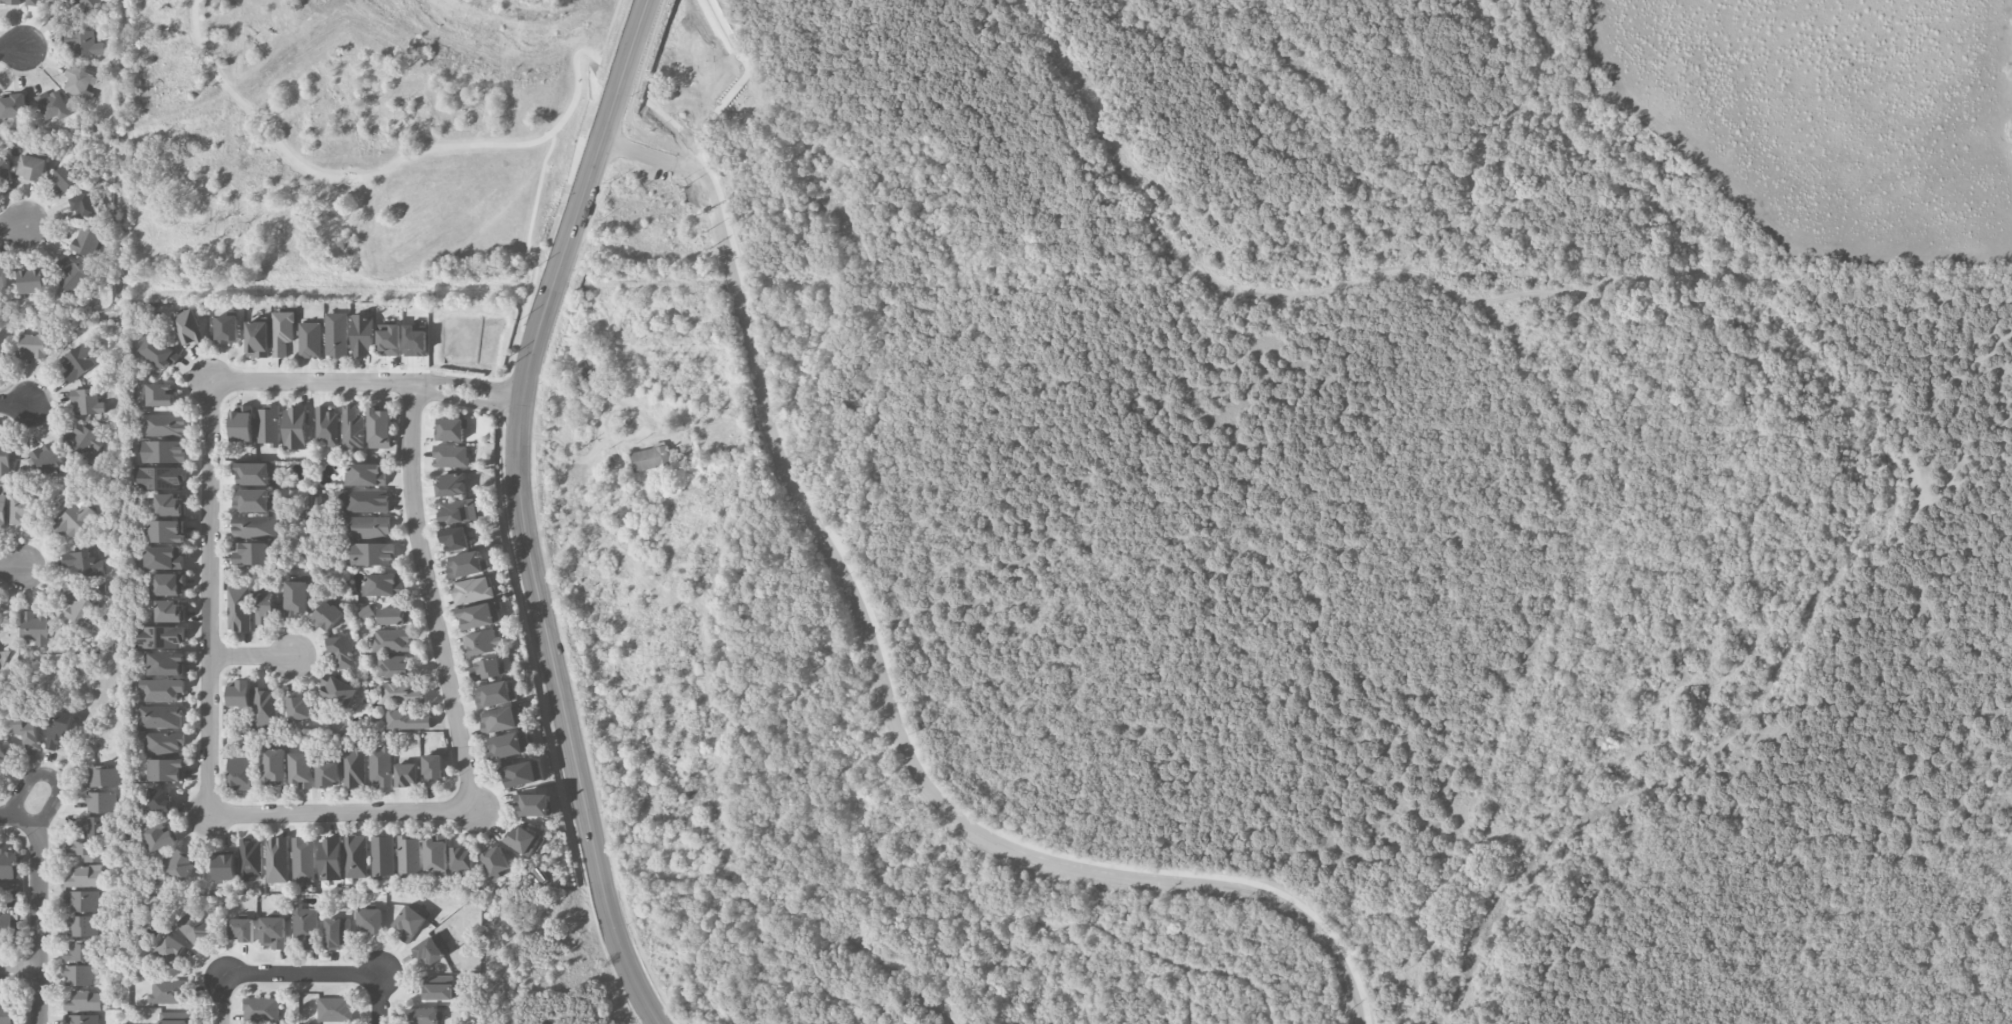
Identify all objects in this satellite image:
building: (10, 2)
building: (32, 2)
building: (87, 4)
building: (84, 43)
road: (12, 49)
road: (621, 80)
building: (78, 82)
building: (13, 105)
building: (52, 105)
road: (723, 113)
road: (1598, 144)
park: (353, 145)
road: (1126, 159)
building: (32, 167)
road: (382, 168)
building: (5, 169)
building: (64, 179)
road: (713, 185)
building: (84, 204)
road: (13, 225)
building: (87, 241)
road: (528, 243)
building: (70, 274)
building: (2, 275)
building: (32, 281)
road: (1258, 285)
road: (1263, 306)
building: (189, 327)
building: (226, 329)
building: (282, 332)
building: (336, 335)
building: (363, 335)
building: (257, 338)
building: (389, 339)
building: (310, 340)
building: (415, 341)
building: (34, 344)
building: (2, 348)
building: (159, 352)
building: (80, 361)
building: (590, 376)
road: (525, 379)
road: (467, 384)
building: (160, 395)
building: (87, 401)
road: (465, 401)
road: (15, 406)
building: (164, 425)
building: (241, 426)
building: (268, 426)
building: (294, 426)
building: (325, 426)
building: (379, 428)
building: (352, 430)
building: (451, 430)
building: (83, 440)
building: (163, 451)
building: (450, 456)
building: (651, 457)
building: (4, 458)
building: (46, 460)
building: (252, 473)
building: (366, 474)
building: (162, 477)
building: (451, 485)
building: (253, 500)
building: (364, 502)
building: (169, 504)
building: (20, 510)
building: (458, 510)
building: (2, 513)
building: (76, 519)
building: (255, 527)
building: (369, 527)
building: (167, 531)
building: (454, 538)
building: (251, 553)
building: (371, 554)
park: (1993, 555)
building: (165, 557)
building: (83, 564)
building: (466, 565)
road: (10, 568)
building: (169, 584)
building: (380, 584)
building: (472, 590)
building: (297, 598)
road: (857, 603)
building: (265, 607)
building: (239, 608)
building: (80, 609)
building: (170, 611)
building: (366, 613)
building: (327, 615)
building: (479, 615)
building: (394, 616)
building: (34, 628)
building: (161, 637)
building: (391, 640)
building: (481, 642)
building: (341, 650)
road: (250, 654)
building: (165, 663)
building: (394, 666)
building: (486, 669)
road: (893, 681)
building: (162, 689)
building: (338, 691)
building: (240, 693)
building: (402, 693)
building: (494, 694)
building: (265, 706)
building: (299, 708)
building: (160, 717)
building: (408, 719)
building: (499, 720)
building: (28, 731)
building: (58, 732)
building: (162, 742)
building: (509, 745)
building: (3, 756)
building: (275, 765)
building: (354, 766)
building: (380, 766)
building: (166, 769)
building: (301, 769)
building: (432, 769)
building: (240, 773)
building: (522, 773)
building: (328, 774)
building: (406, 774)
building: (102, 777)
road: (26, 788)
building: (159, 799)
building: (101, 802)
road: (53, 805)
building: (532, 805)
road: (238, 815)
road: (12, 817)
building: (91, 826)
building: (159, 837)
building: (521, 840)
building: (408, 854)
building: (382, 855)
building: (435, 855)
building: (355, 856)
building: (250, 857)
building: (461, 858)
building: (303, 859)
building: (329, 859)
building: (276, 860)
road: (887, 861)
building: (495, 862)
building: (8, 864)
building: (181, 865)
building: (224, 867)
building: (541, 875)
building: (84, 876)
building: (82, 901)
road: (606, 902)
road: (39, 920)
building: (369, 921)
park: (952, 921)
road: (1210, 922)
building: (409, 923)
road: (1061, 923)
building: (5, 926)
building: (83, 926)
building: (194, 926)
road: (710, 926)
building: (304, 927)
building: (241, 929)
building: (273, 932)
building: (337, 933)
road: (1329, 947)
building: (169, 948)
building: (79, 951)
building: (428, 951)
road: (883, 959)
road: (647, 961)
road: (1291, 964)
road: (20, 970)
road: (324, 972)
building: (79, 975)
road: (819, 979)
building: (437, 987)
building: (168, 992)
road: (1187, 993)
road: (220, 998)
building: (84, 1001)
building: (261, 1009)
building: (334, 1009)
building: (5, 1010)
building: (424, 1016)
building: (174, 1018)
road: (861, 1018)
building: (82, 1019)

